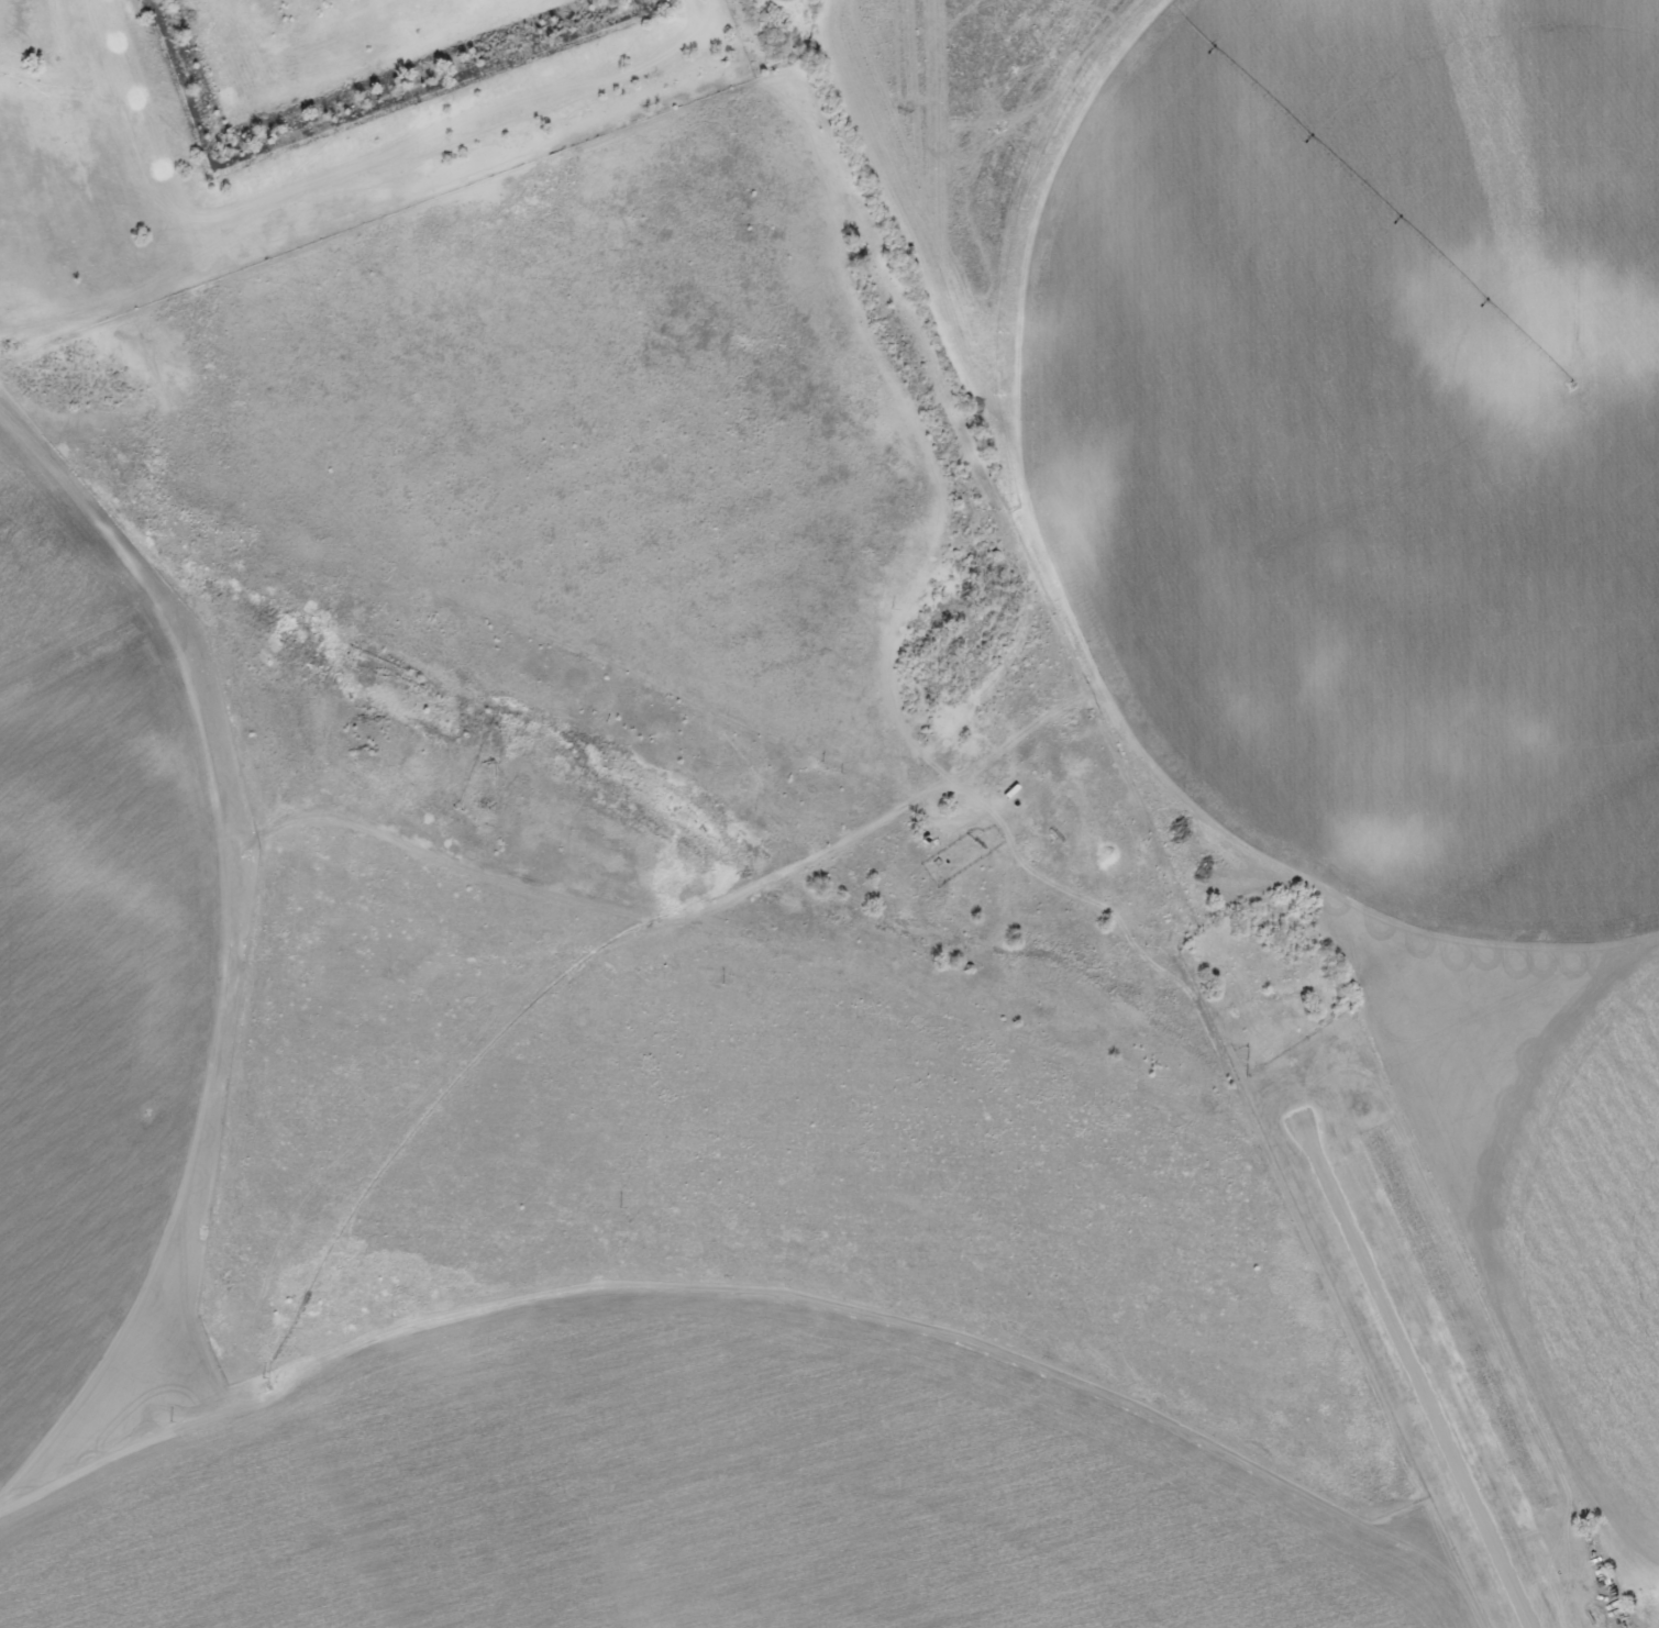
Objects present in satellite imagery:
airport: (1431, 1331)
airport runway: (1418, 1370)

